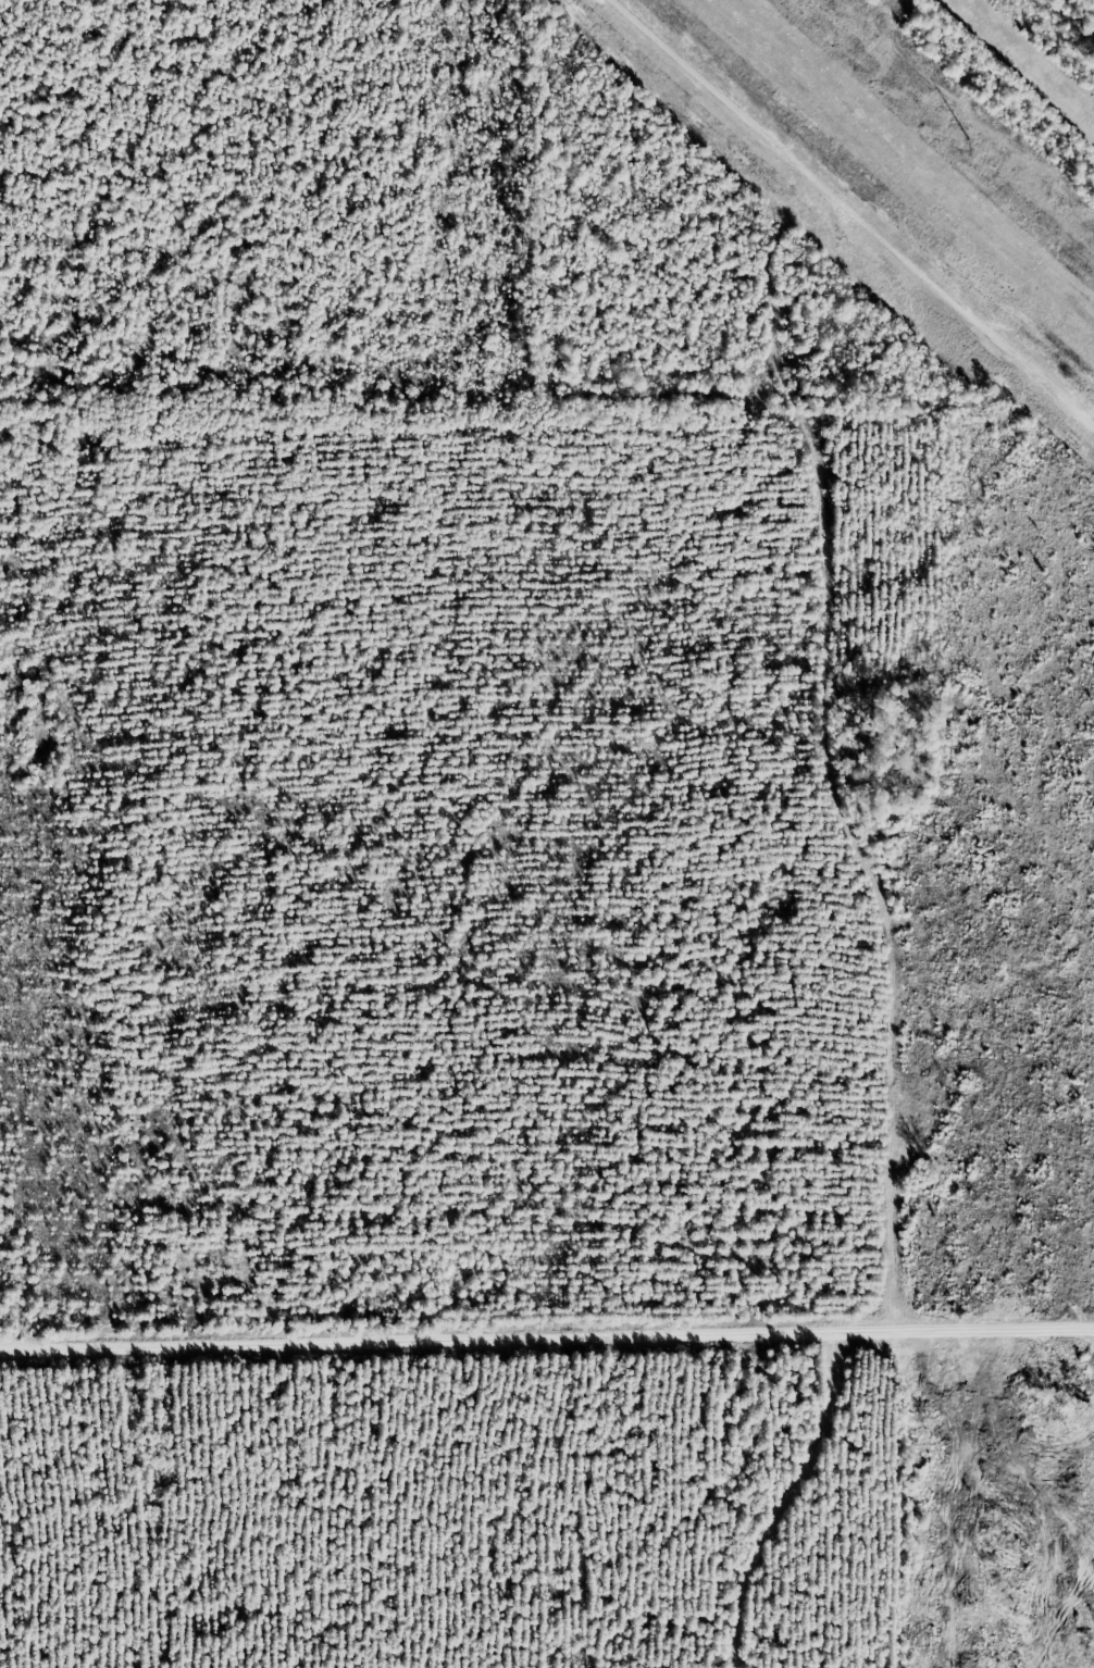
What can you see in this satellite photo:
power tower: (975, 146)
road: (546, 1342)

